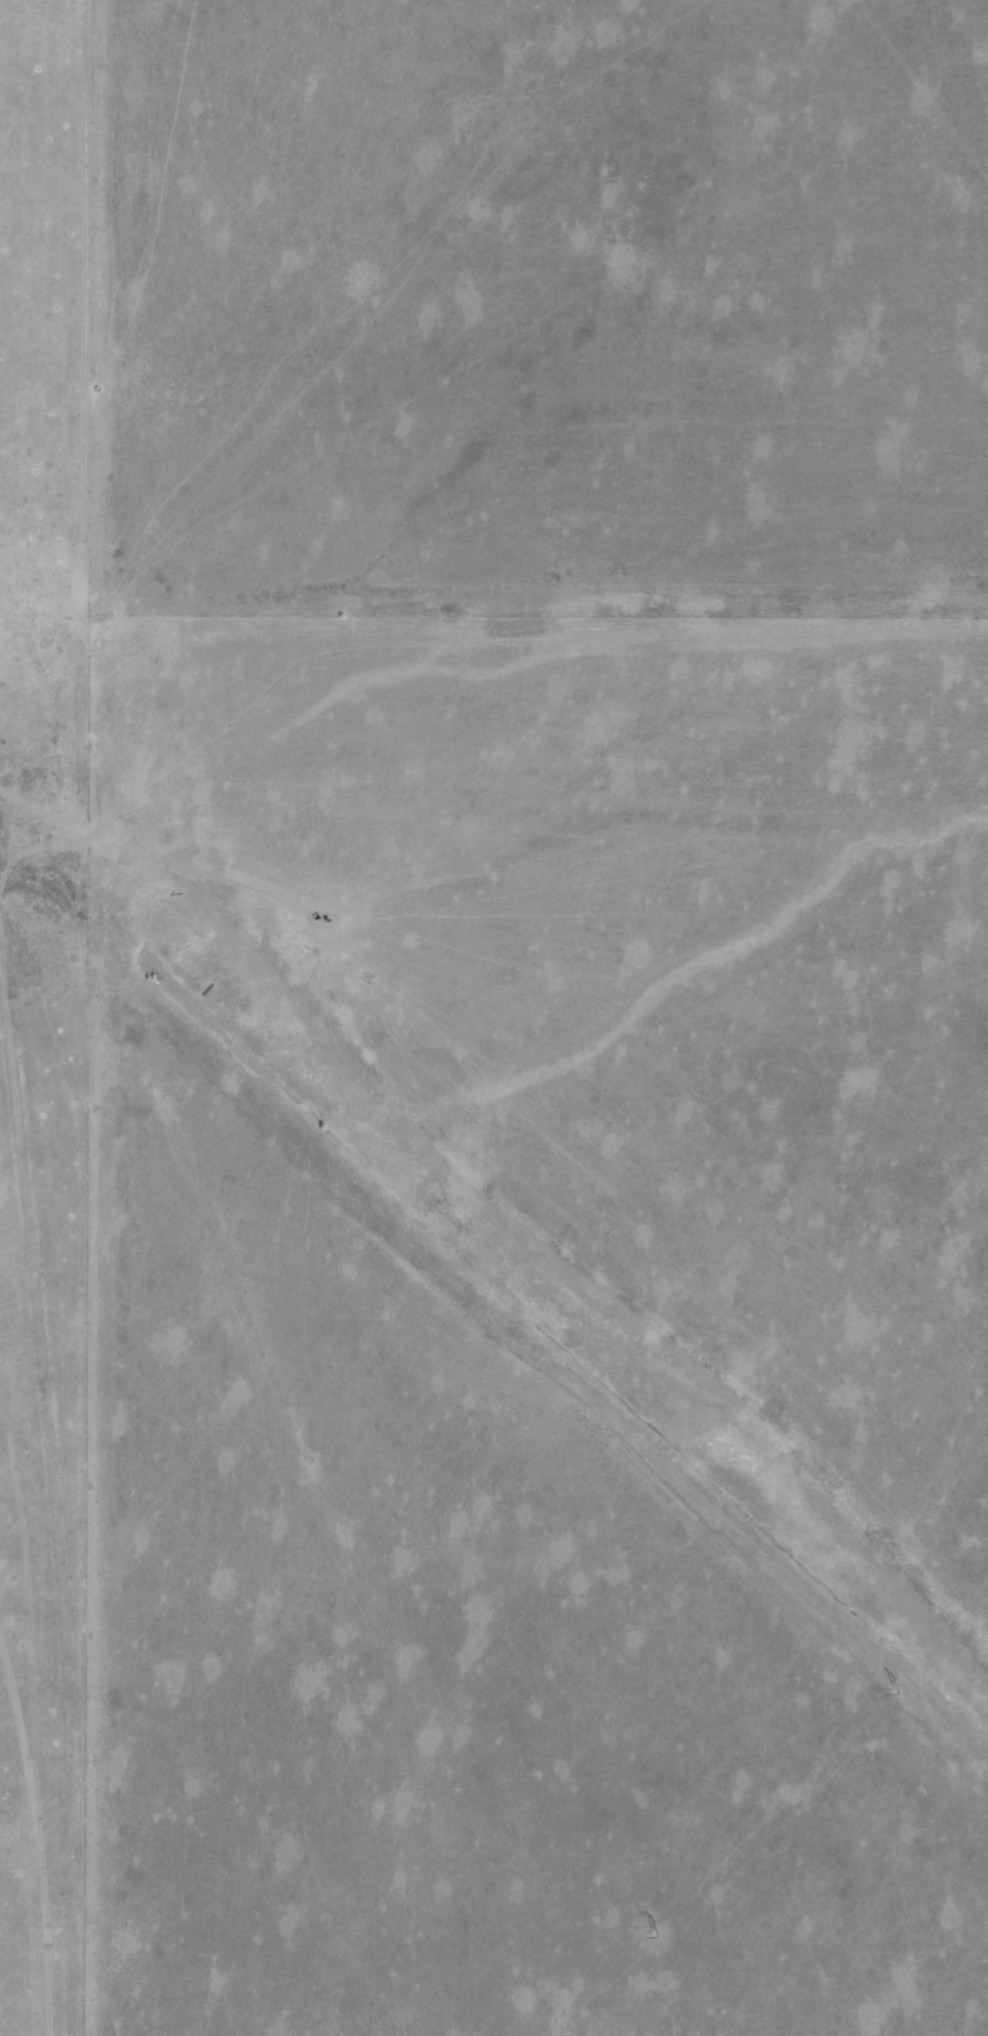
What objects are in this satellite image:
power tower: (895, 1690)
power tower: (654, 1933)

